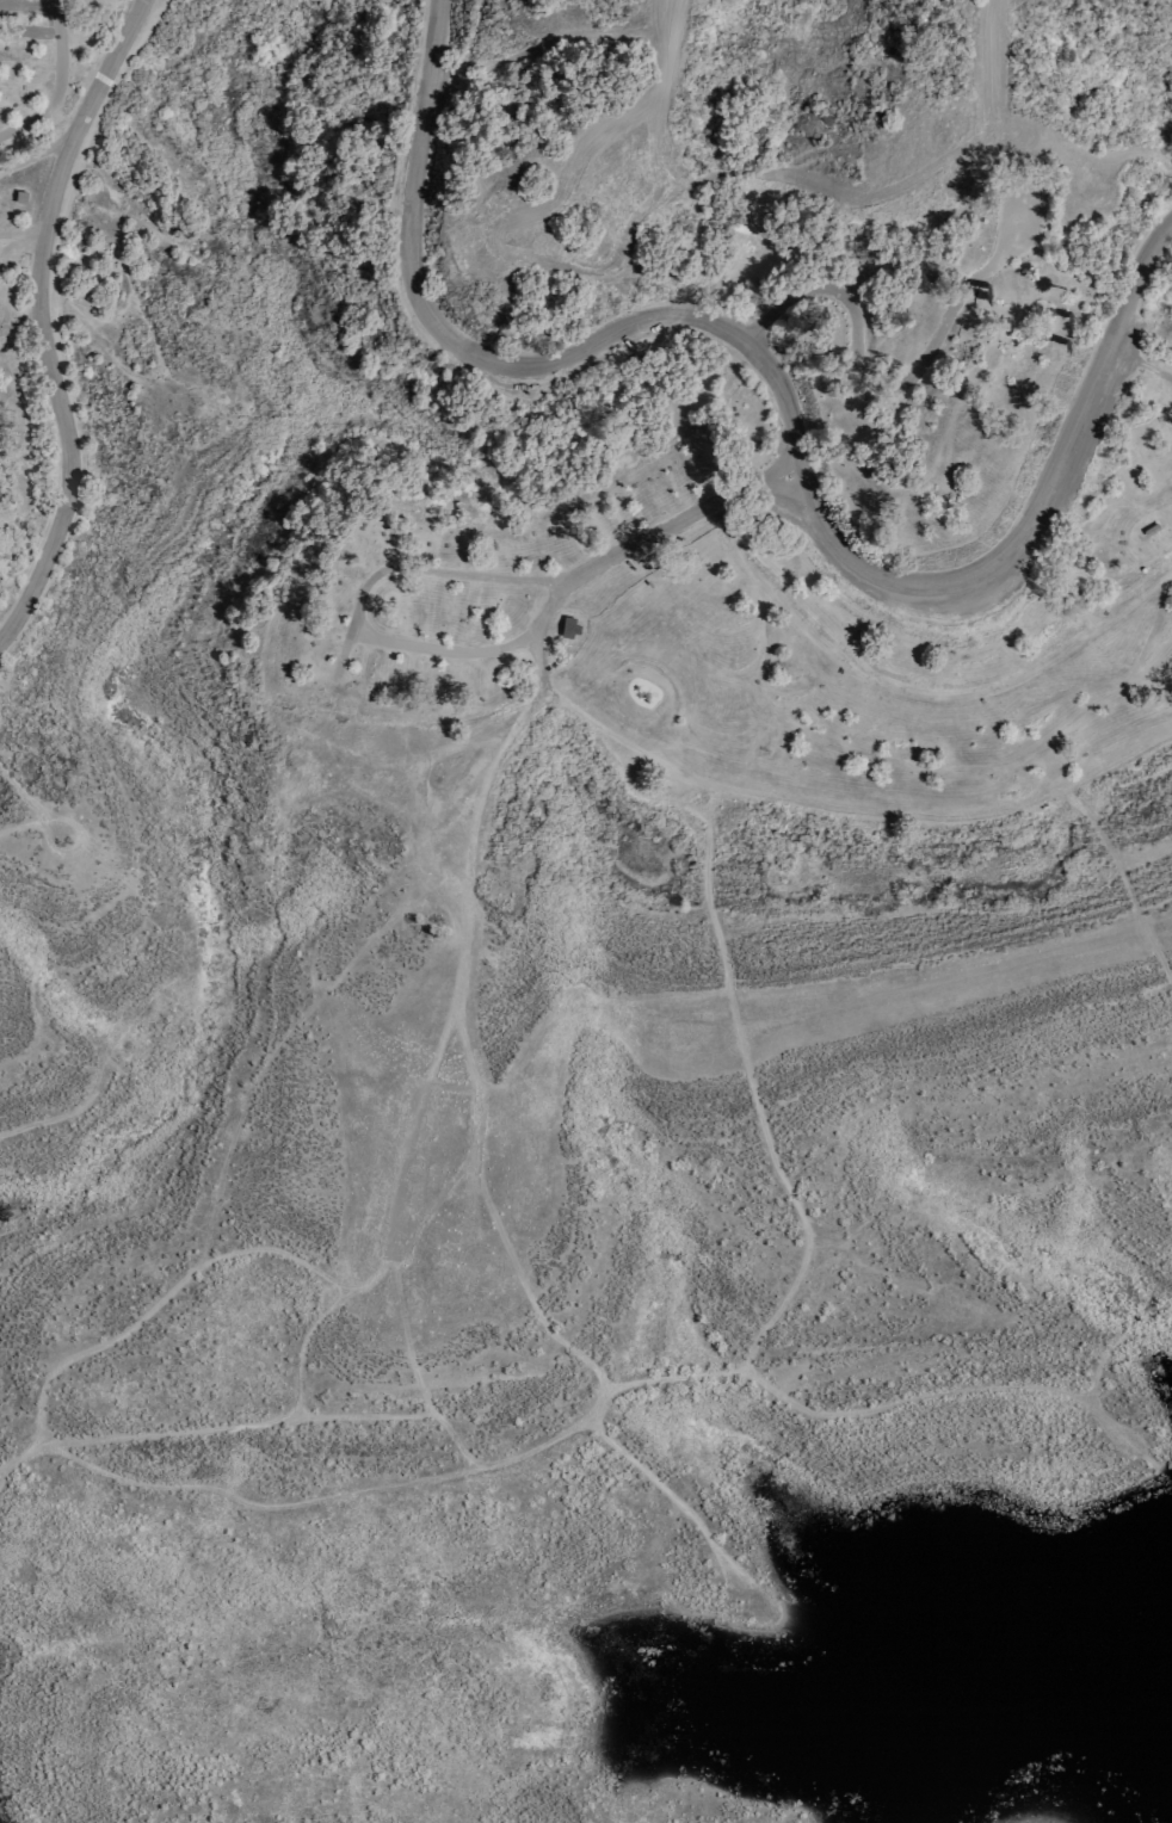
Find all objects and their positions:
road: (57, 82)
road: (33, 155)
road: (580, 155)
building: (18, 197)
road: (20, 239)
road: (42, 315)
road: (1142, 364)
road: (882, 377)
road: (787, 391)
road: (679, 520)
building: (1149, 530)
road: (1133, 533)
road: (359, 605)
road: (353, 625)
building: (566, 628)
road: (343, 660)
road: (915, 692)
road: (852, 812)
park: (562, 840)
road: (468, 854)
road: (465, 1050)
road: (471, 1162)
road: (407, 1170)

